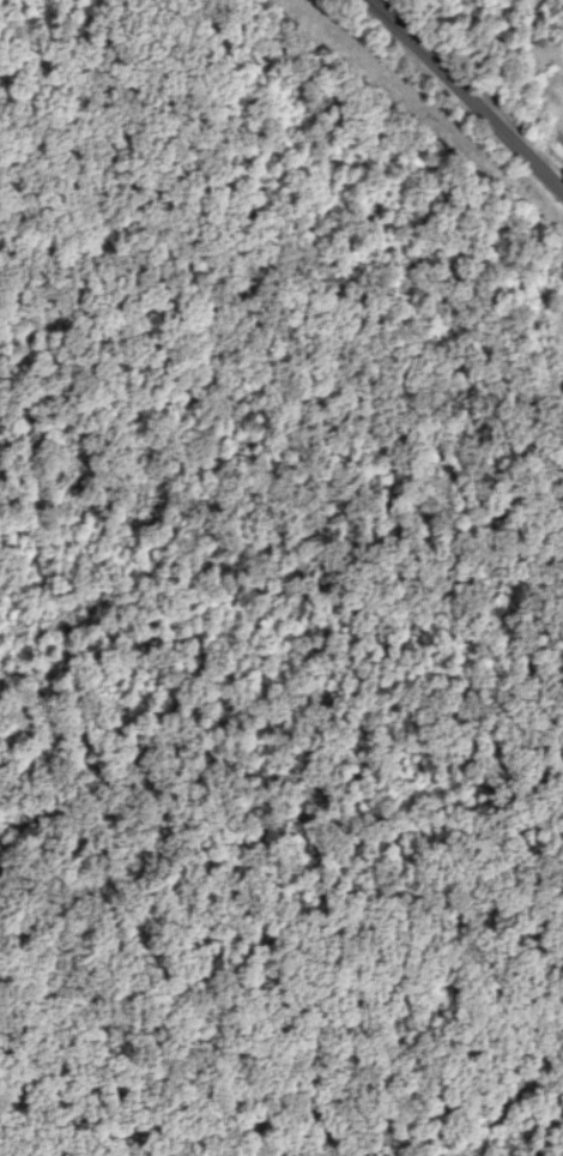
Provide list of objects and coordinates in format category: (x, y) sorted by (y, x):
road: (468, 94)
park: (123, 576)

